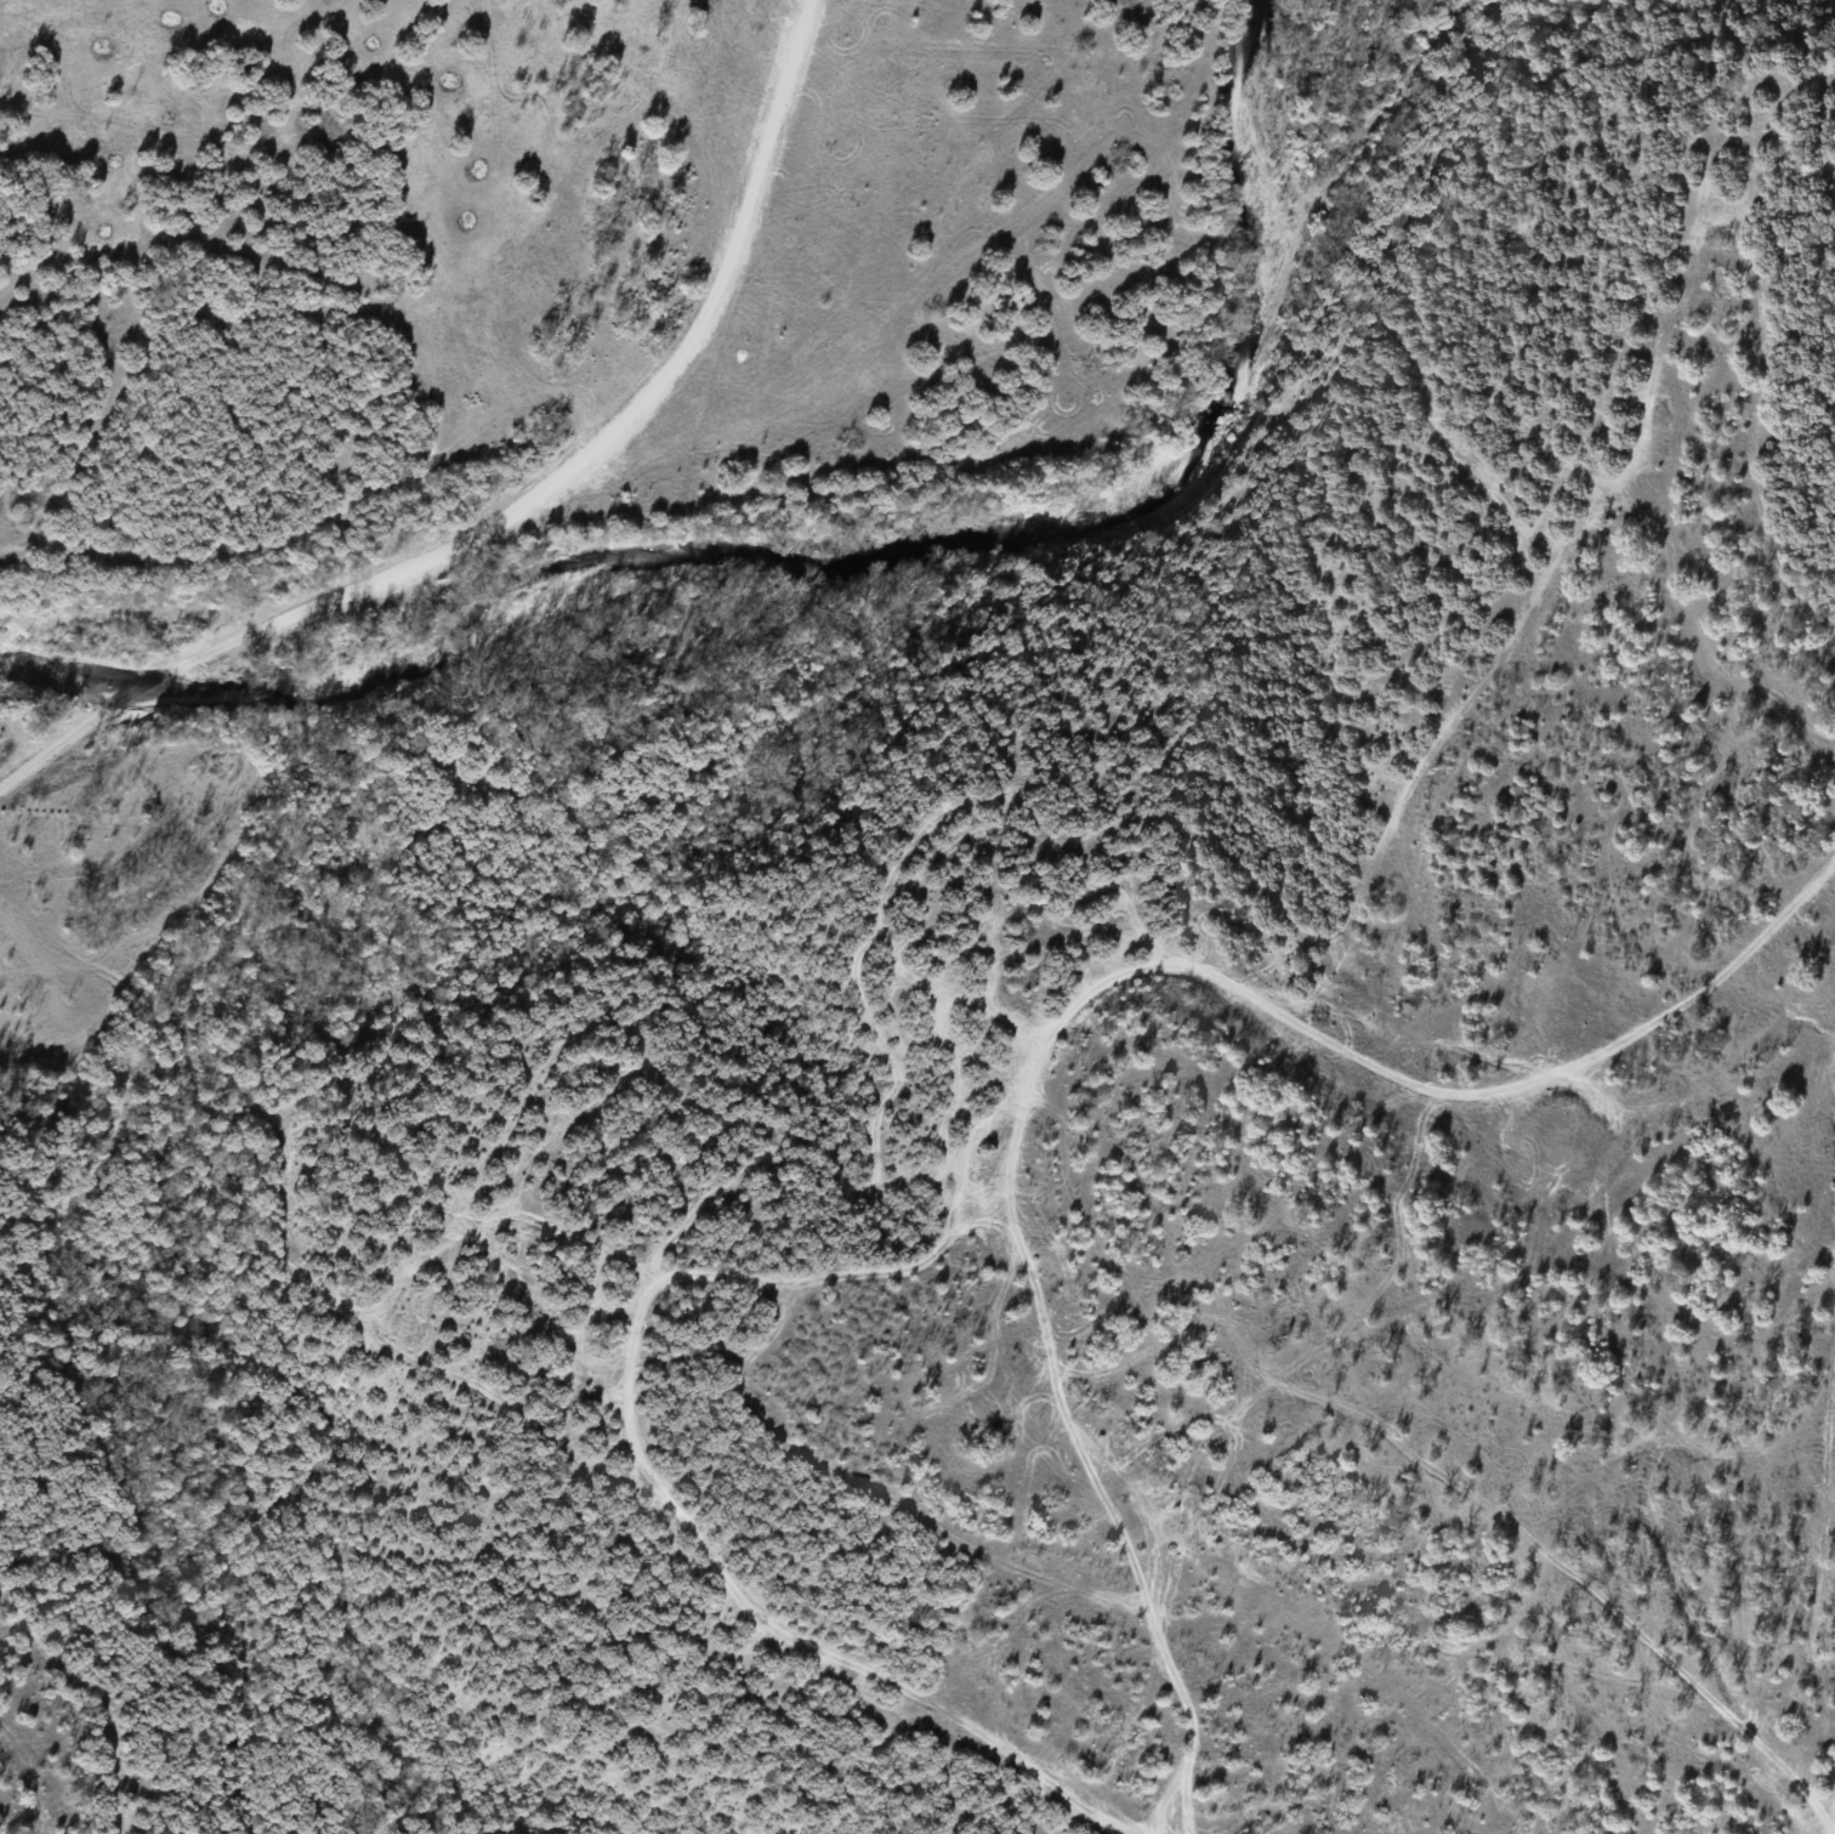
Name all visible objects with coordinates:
road: (516, 494)

